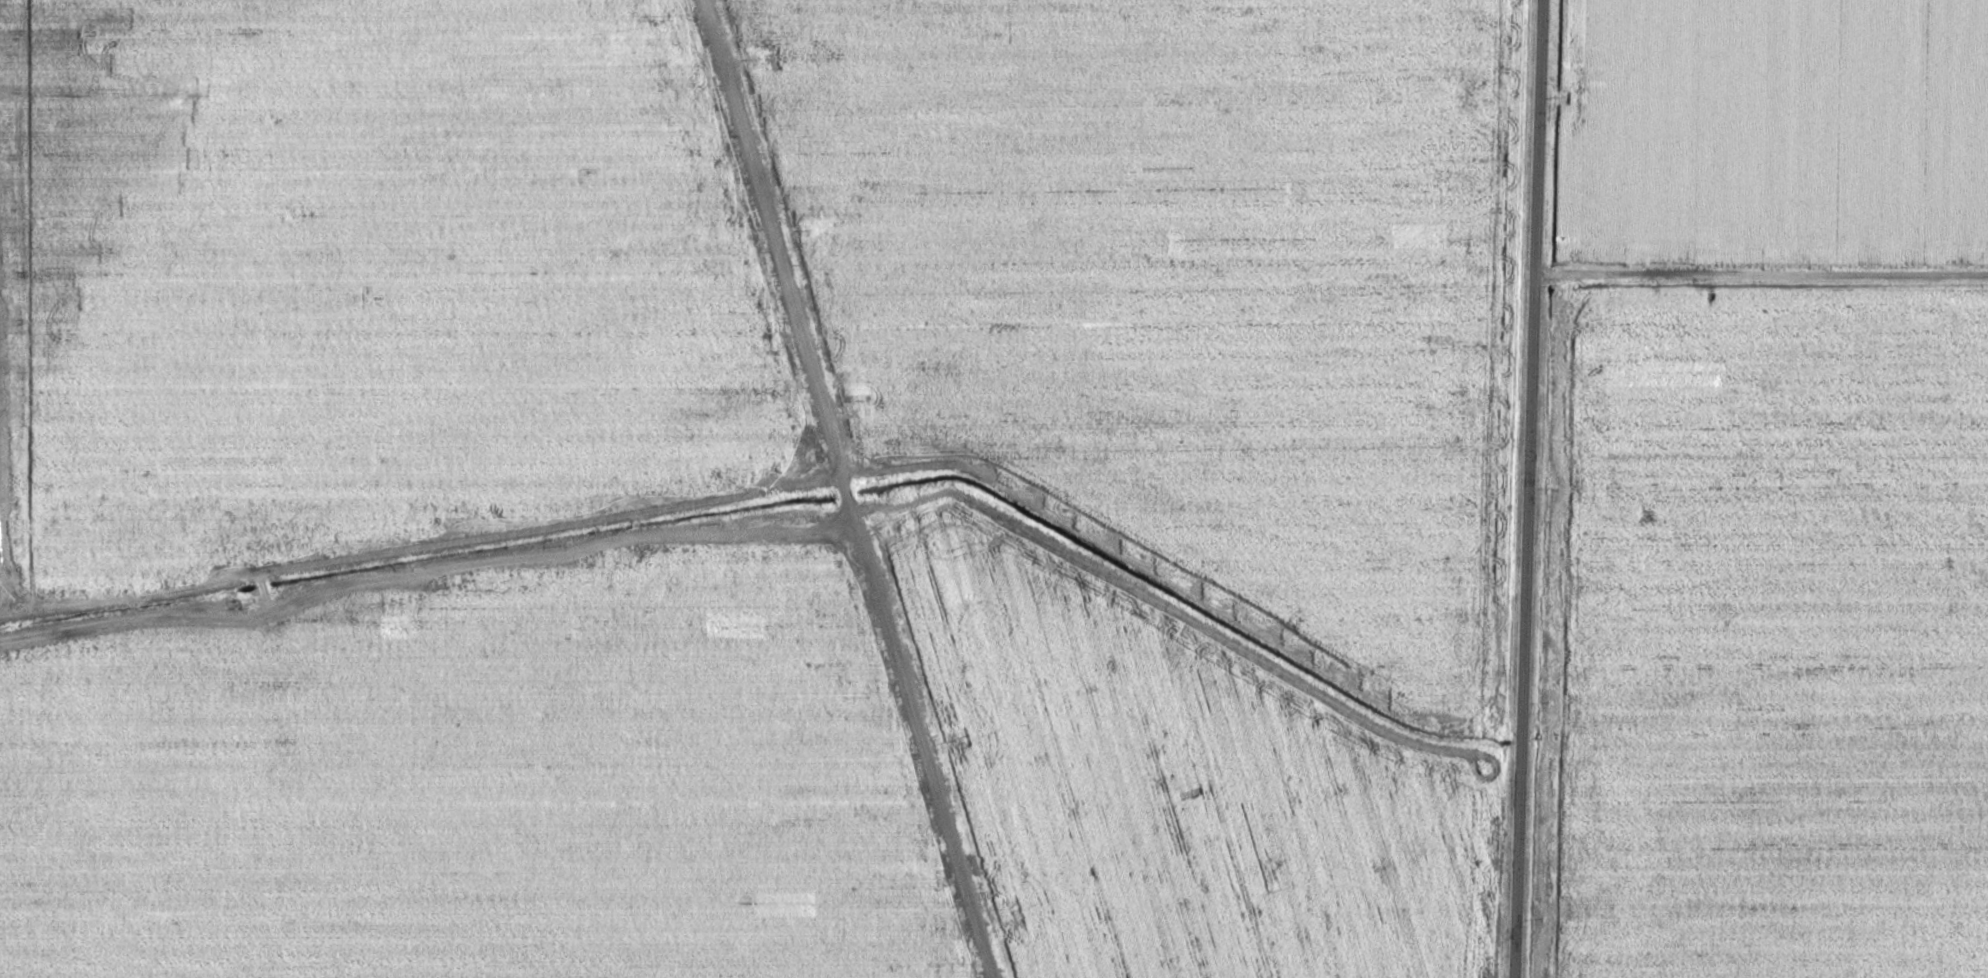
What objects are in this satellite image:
road: (1760, 274)
road: (1527, 489)

